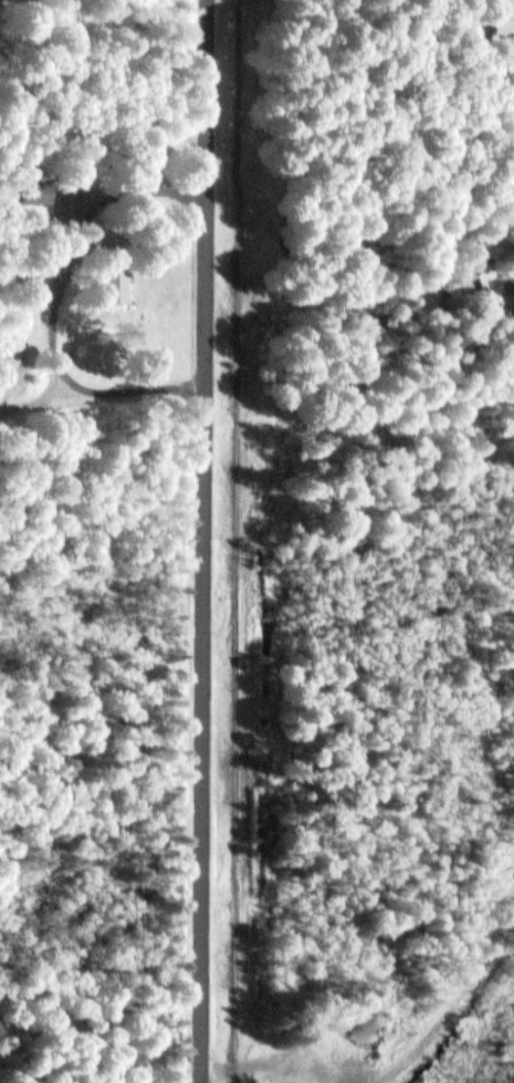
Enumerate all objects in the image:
building: (501, 19)
building: (109, 269)
road: (108, 396)
road: (213, 541)

